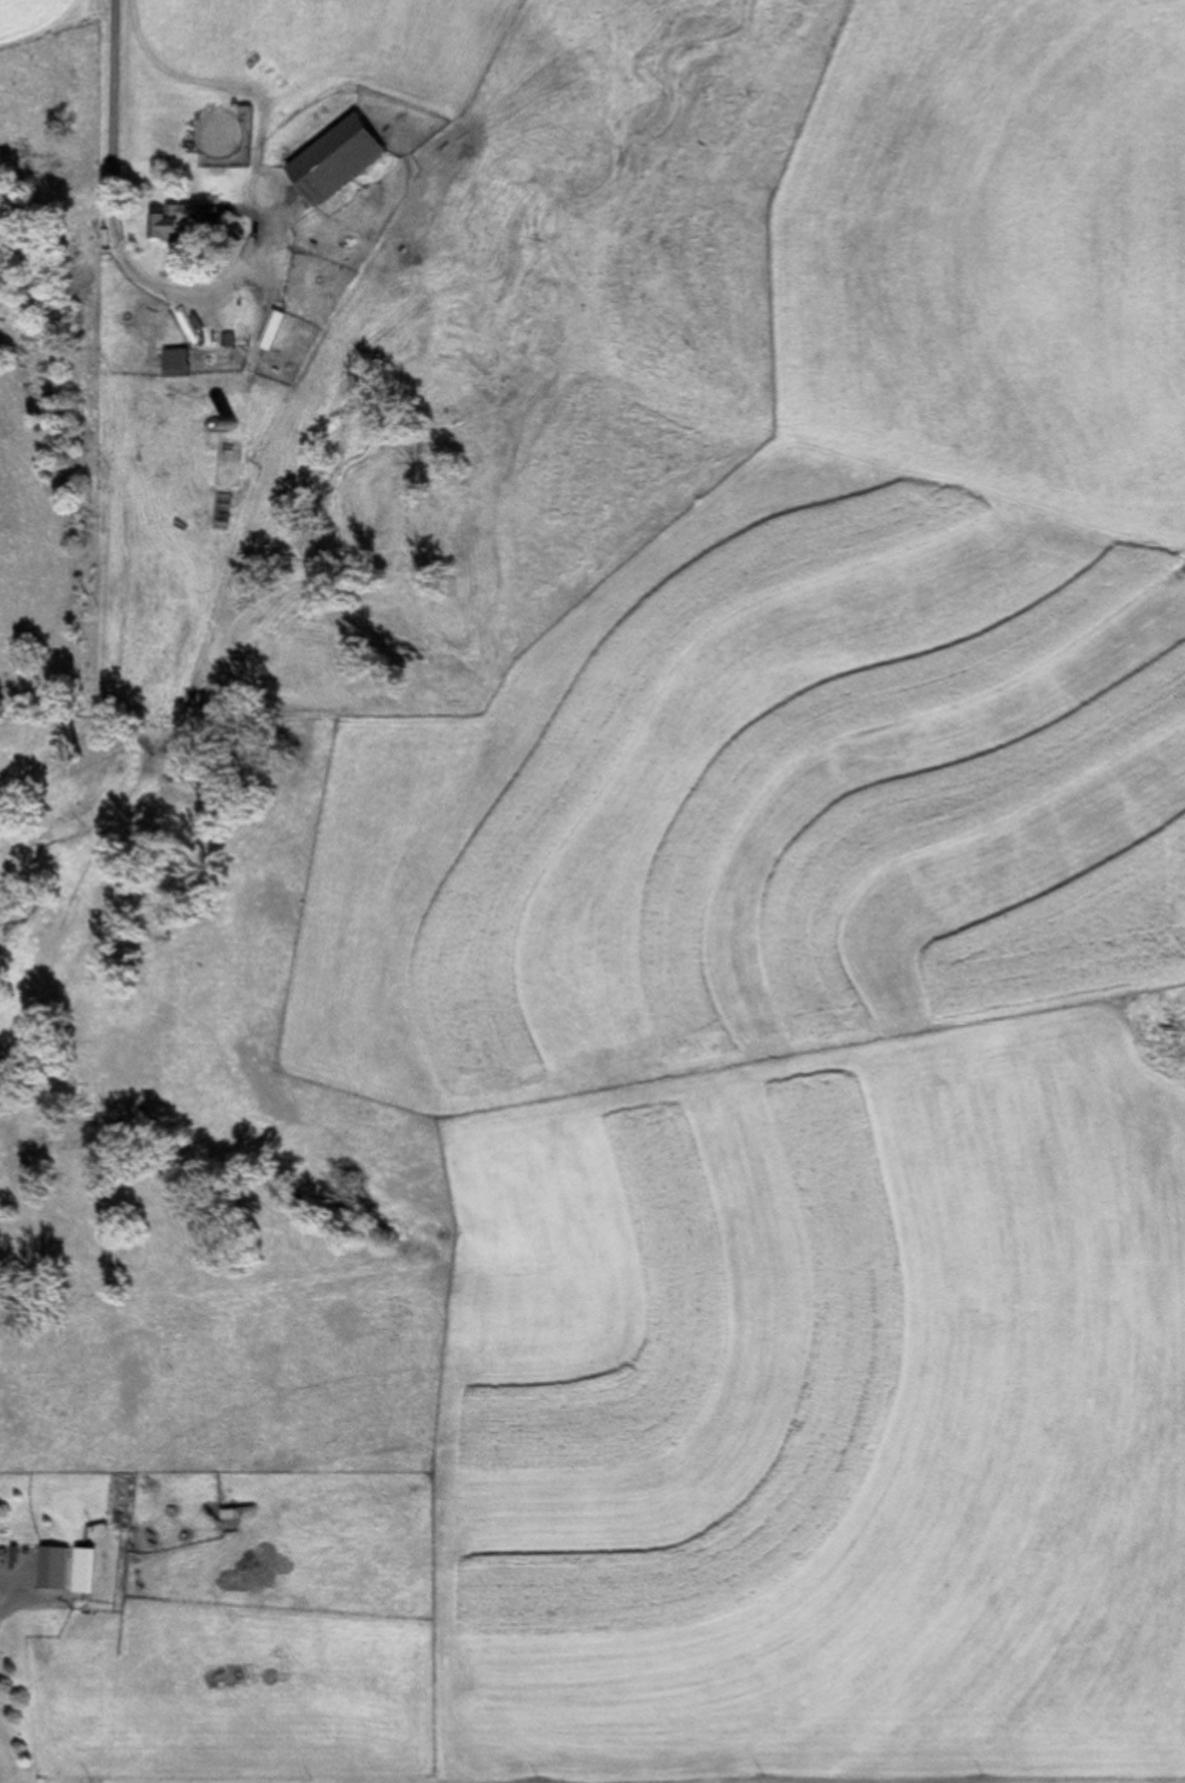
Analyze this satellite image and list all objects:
road: (149, 121)
building: (344, 160)
building: (187, 219)
building: (181, 364)
building: (57, 1570)
road: (592, 1767)

